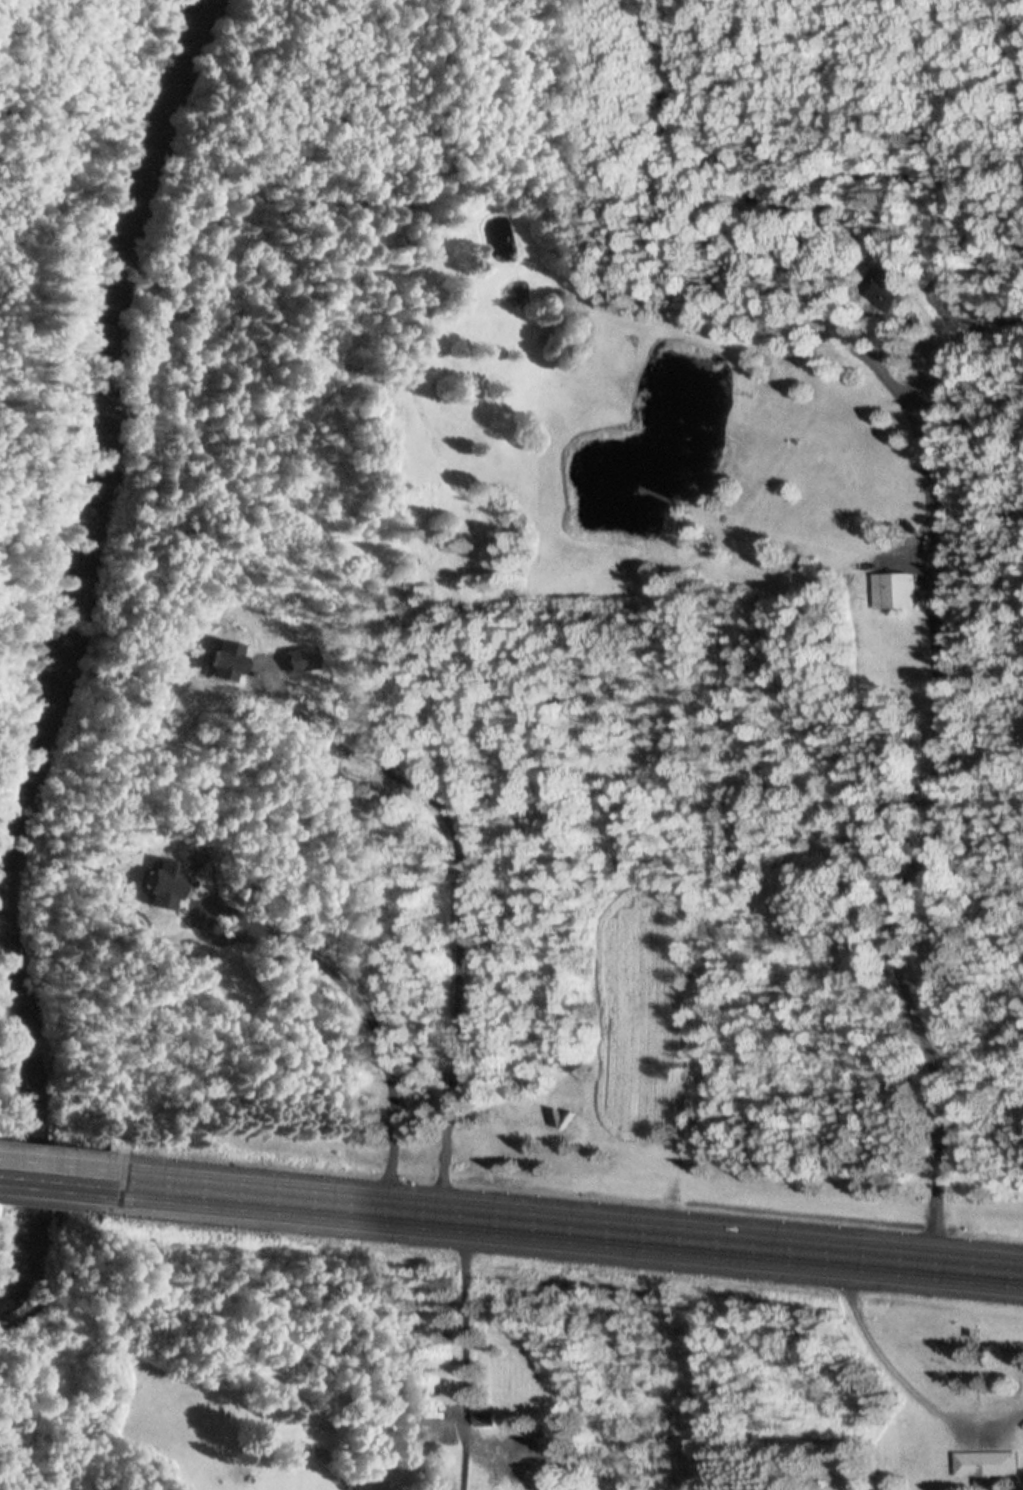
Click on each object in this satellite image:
river: (817, 163)
building: (887, 287)
building: (894, 589)
river: (67, 624)
road: (927, 809)
building: (168, 884)
road: (364, 1011)
road: (62, 1175)
road: (573, 1228)
river: (11, 1274)
building: (485, 1417)
building: (984, 1465)

